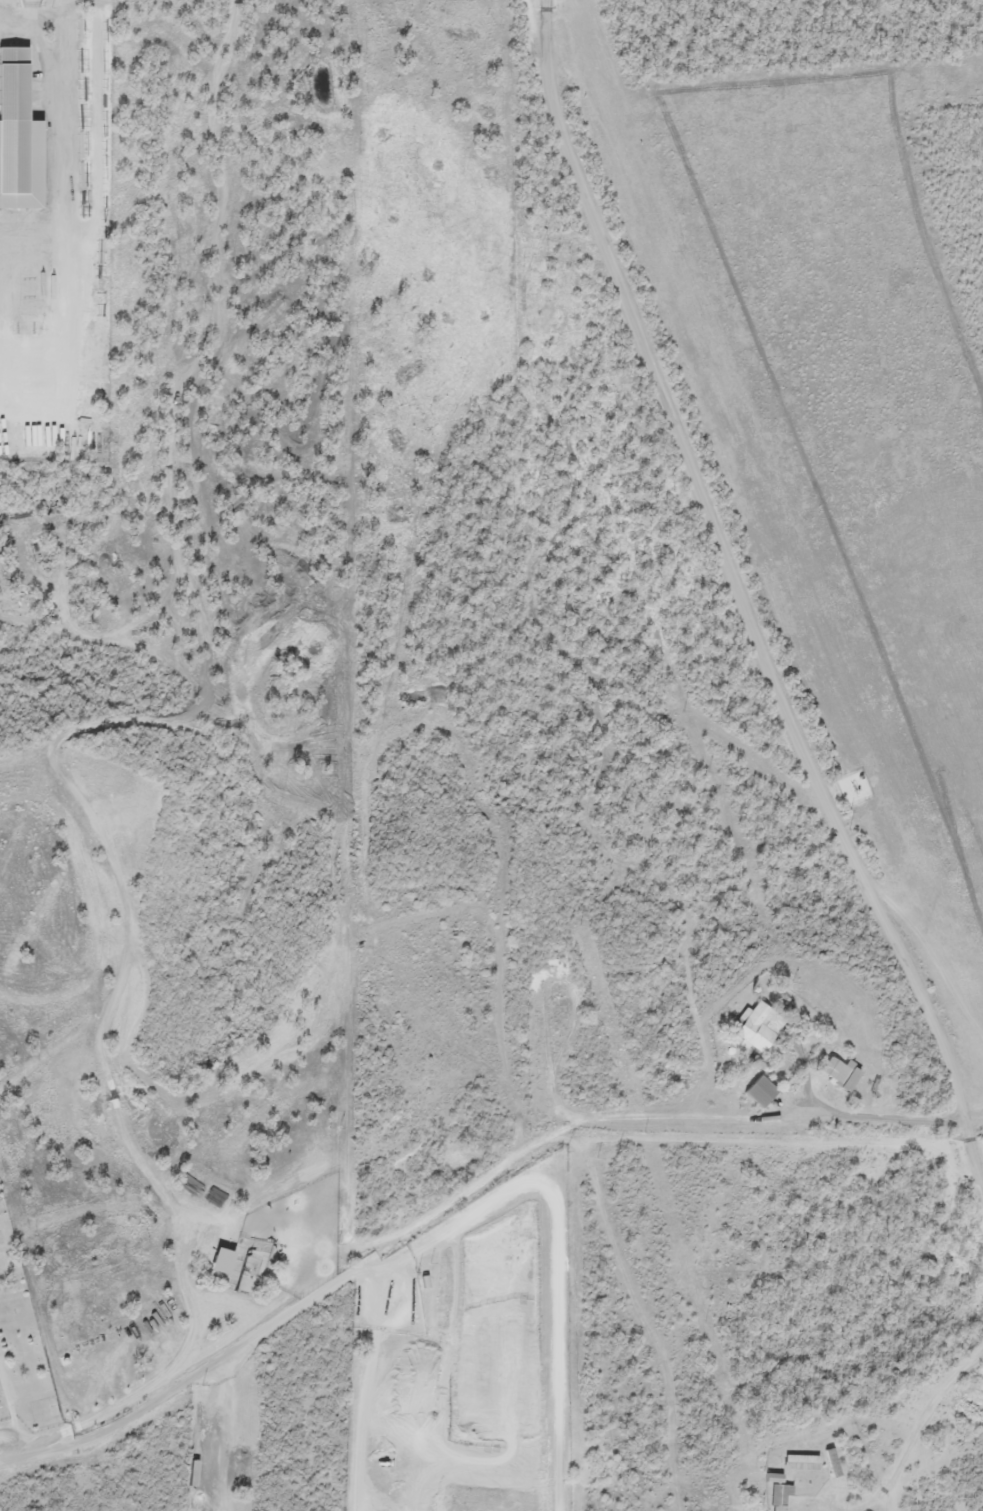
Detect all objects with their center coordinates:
building: (20, 135)
road: (741, 599)
building: (759, 1026)
building: (842, 1073)
building: (764, 1090)
road: (468, 1184)
building: (224, 1260)
road: (567, 1319)
park: (22, 1346)
road: (366, 1380)
road: (13, 1450)
building: (834, 1461)
building: (804, 1462)
building: (781, 1496)

